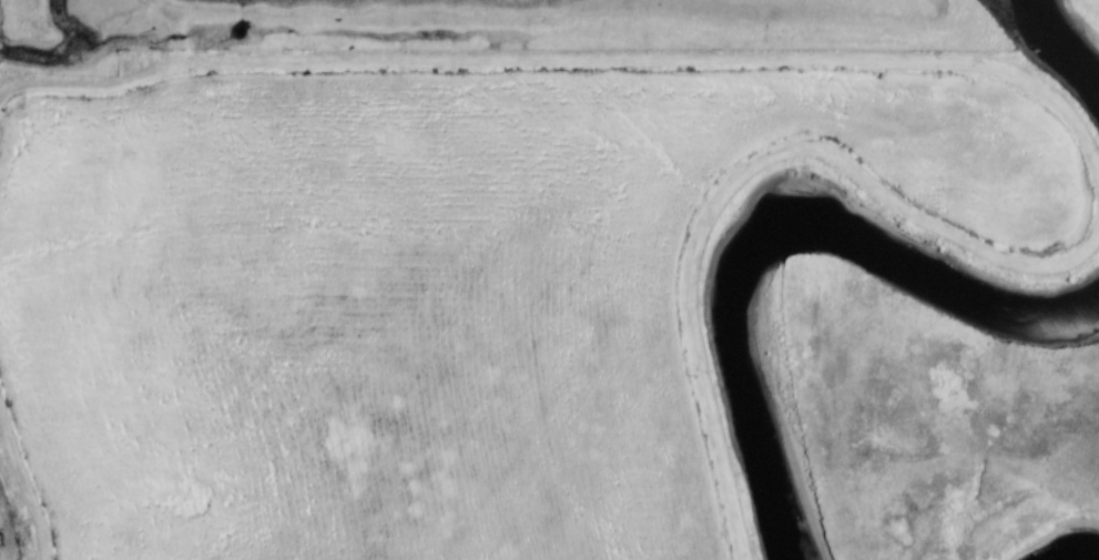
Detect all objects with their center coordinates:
river: (1068, 33)
river: (782, 235)

